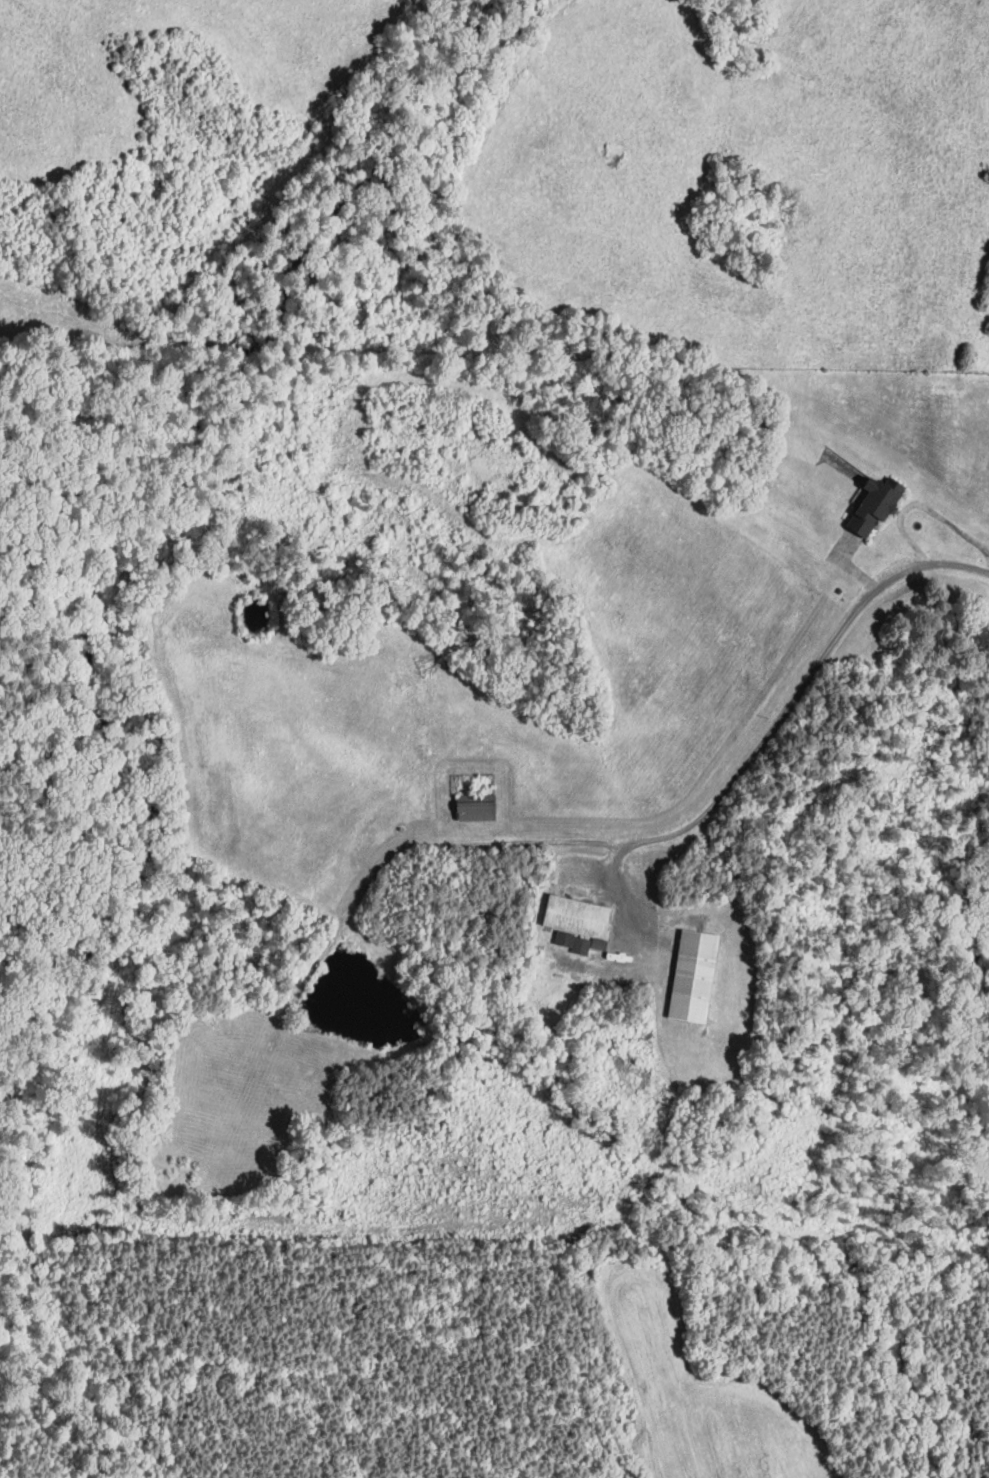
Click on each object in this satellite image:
road: (922, 503)
building: (880, 504)
road: (725, 788)
building: (698, 974)

